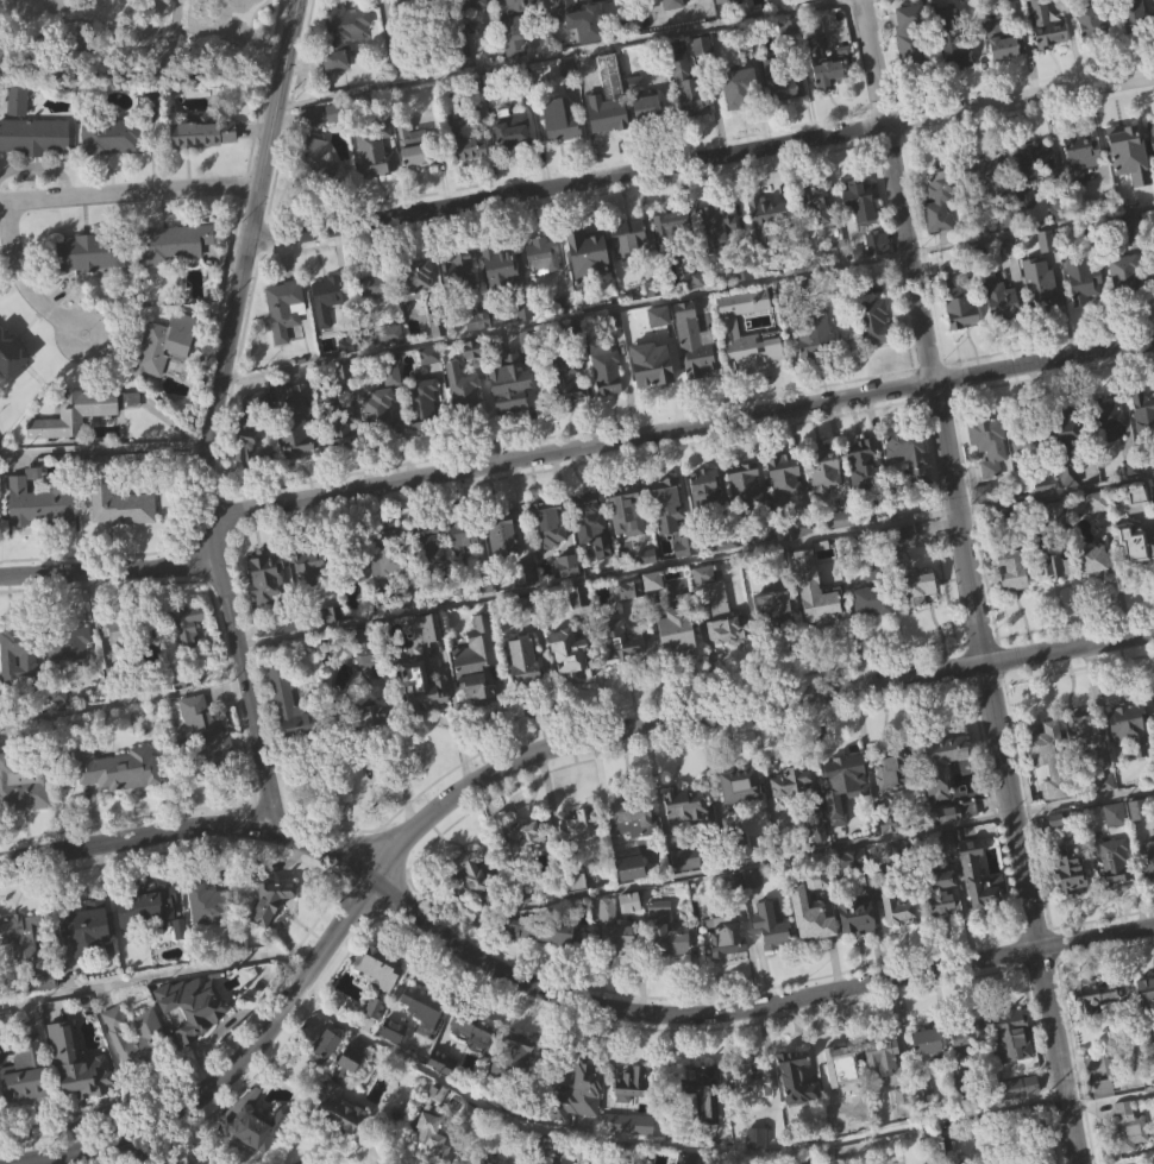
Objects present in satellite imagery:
building: (673, 4)
building: (822, 8)
building: (1041, 12)
building: (730, 13)
building: (1135, 15)
building: (518, 20)
building: (582, 20)
building: (1095, 25)
building: (473, 29)
building: (345, 34)
building: (453, 36)
road: (170, 37)
building: (912, 38)
building: (1002, 42)
building: (1135, 48)
building: (953, 49)
road: (565, 54)
building: (1092, 54)
building: (827, 57)
building: (1047, 58)
road: (874, 63)
building: (911, 68)
building: (345, 69)
road: (140, 73)
building: (1004, 75)
building: (782, 83)
building: (958, 86)
building: (688, 87)
building: (738, 88)
building: (827, 93)
road: (1021, 101)
building: (602, 106)
building: (648, 111)
building: (635, 119)
building: (786, 119)
building: (690, 120)
building: (739, 120)
road: (272, 121)
building: (559, 121)
building: (513, 127)
building: (30, 130)
building: (146, 132)
building: (203, 132)
building: (111, 137)
building: (1149, 137)
building: (318, 140)
building: (465, 140)
building: (647, 140)
building: (606, 144)
building: (416, 146)
building: (377, 149)
building: (1123, 150)
building: (562, 153)
building: (1080, 156)
building: (513, 164)
building: (205, 165)
building: (1034, 166)
building: (1152, 166)
building: (35, 170)
building: (113, 170)
building: (986, 174)
building: (464, 176)
building: (416, 181)
road: (567, 185)
building: (1129, 187)
building: (1081, 189)
building: (315, 193)
road: (130, 196)
building: (941, 197)
building: (863, 201)
building: (815, 202)
building: (1034, 203)
building: (986, 207)
building: (766, 221)
building: (716, 227)
building: (1128, 227)
building: (672, 228)
building: (628, 235)
building: (940, 235)
building: (815, 239)
building: (174, 244)
building: (767, 245)
building: (868, 247)
building: (589, 251)
building: (92, 252)
building: (542, 254)
building: (829, 256)
building: (719, 257)
building: (1150, 259)
building: (671, 262)
building: (1133, 262)
building: (498, 269)
building: (629, 270)
building: (458, 273)
building: (1119, 273)
road: (18, 276)
building: (175, 276)
building: (878, 276)
building: (1083, 278)
building: (414, 279)
building: (1008, 279)
building: (376, 282)
building: (588, 284)
building: (1042, 285)
building: (88, 287)
building: (545, 289)
building: (1153, 289)
building: (792, 290)
building: (327, 292)
road: (684, 296)
building: (998, 296)
building: (501, 298)
building: (958, 302)
building: (458, 303)
building: (418, 307)
building: (1125, 307)
building: (282, 309)
building: (1084, 314)
building: (1042, 319)
building: (374, 320)
building: (730, 322)
building: (871, 322)
building: (328, 331)
building: (1002, 331)
street lamp: (82, 333)
building: (959, 333)
building: (813, 335)
building: (692, 341)
road: (95, 342)
building: (284, 342)
building: (164, 345)
building: (529, 345)
building: (478, 352)
building: (874, 354)
building: (12, 358)
building: (647, 363)
building: (604, 367)
building: (747, 367)
building: (816, 369)
building: (389, 370)
building: (567, 375)
building: (696, 375)
building: (164, 376)
building: (508, 386)
building: (12, 388)
building: (647, 397)
building: (466, 398)
building: (608, 404)
building: (422, 405)
building: (393, 408)
building: (1141, 410)
building: (567, 413)
building: (74, 414)
building: (381, 414)
building: (509, 417)
building: (1103, 419)
building: (463, 421)
building: (296, 423)
building: (338, 423)
building: (257, 435)
building: (424, 435)
building: (1021, 435)
building: (1060, 438)
building: (985, 442)
building: (1143, 443)
building: (383, 445)
building: (76, 446)
road: (101, 451)
road: (570, 451)
building: (911, 451)
building: (1110, 453)
building: (343, 464)
building: (864, 467)
building: (824, 470)
building: (1026, 472)
building: (785, 476)
building: (990, 478)
building: (1065, 479)
building: (255, 482)
building: (908, 484)
building: (745, 486)
building: (707, 491)
building: (865, 495)
building: (118, 502)
building: (667, 502)
building: (826, 503)
building: (39, 504)
building: (785, 509)
building: (627, 510)
building: (1153, 515)
building: (746, 516)
building: (1045, 517)
building: (705, 520)
building: (548, 522)
building: (592, 522)
building: (983, 527)
building: (463, 531)
building: (501, 533)
building: (667, 534)
building: (1097, 534)
building: (40, 537)
road: (211, 537)
building: (121, 539)
building: (627, 543)
building: (1127, 545)
building: (431, 546)
building: (1054, 548)
building: (592, 555)
building: (550, 556)
building: (1087, 559)
road: (696, 562)
building: (464, 564)
building: (504, 564)
building: (389, 567)
building: (1045, 567)
building: (311, 570)
building: (1002, 570)
building: (429, 577)
building: (266, 578)
building: (1134, 578)
building: (444, 586)
building: (651, 587)
building: (922, 587)
building: (819, 590)
building: (873, 591)
building: (1095, 591)
building: (569, 598)
building: (1054, 598)
building: (308, 600)
building: (531, 604)
building: (1012, 604)
building: (704, 606)
building: (715, 606)
building: (776, 608)
building: (653, 614)
building: (631, 621)
building: (918, 621)
building: (276, 623)
building: (815, 623)
building: (184, 625)
building: (429, 628)
building: (579, 628)
building: (126, 633)
building: (872, 633)
building: (774, 637)
building: (622, 638)
building: (68, 642)
building: (365, 646)
road: (980, 646)
building: (722, 647)
building: (19, 655)
building: (575, 656)
building: (187, 660)
building: (429, 660)
building: (525, 660)
building: (677, 662)
building: (117, 663)
building: (623, 675)
building: (69, 677)
building: (476, 682)
building: (567, 685)
building: (422, 686)
building: (19, 688)
building: (525, 692)
building: (1153, 703)
road: (123, 704)
building: (295, 705)
building: (364, 718)
building: (424, 718)
building: (1153, 718)
building: (1125, 726)
building: (1074, 728)
building: (206, 736)
building: (291, 738)
building: (1039, 742)
building: (369, 748)
building: (1130, 761)
building: (947, 763)
road: (510, 765)
building: (1084, 765)
building: (207, 766)
building: (118, 768)
building: (897, 769)
building: (843, 770)
building: (23, 785)
building: (745, 785)
building: (1050, 791)
building: (942, 795)
building: (804, 797)
building: (119, 800)
building: (683, 801)
building: (891, 805)
building: (636, 811)
building: (958, 811)
building: (795, 813)
building: (1103, 814)
building: (741, 817)
building: (843, 817)
building: (20, 823)
building: (582, 825)
building: (531, 837)
building: (686, 837)
building: (958, 844)
building: (735, 845)
building: (634, 850)
building: (1059, 851)
building: (579, 856)
road: (795, 857)
building: (689, 858)
building: (817, 858)
building: (1147, 860)
building: (1112, 861)
building: (527, 869)
building: (1062, 873)
building: (483, 877)
building: (729, 886)
building: (686, 889)
building: (1148, 891)
building: (853, 892)
building: (986, 892)
building: (943, 893)
building: (1115, 893)
building: (802, 898)
building: (632, 900)
building: (272, 901)
building: (207, 904)
building: (1071, 904)
building: (145, 905)
building: (478, 905)
building: (899, 908)
building: (979, 910)
building: (752, 913)
building: (859, 916)
building: (772, 924)
building: (942, 925)
building: (86, 929)
building: (615, 929)
building: (666, 930)
building: (801, 930)
building: (542, 931)
building: (274, 932)
building: (727, 936)
building: (206, 937)
building: (148, 938)
building: (897, 940)
building: (27, 944)
building: (855, 948)
building: (614, 958)
building: (771, 958)
building: (89, 961)
building: (544, 964)
building: (666, 964)
building: (21, 968)
building: (384, 968)
building: (726, 968)
road: (157, 977)
building: (1143, 990)
road: (557, 996)
building: (1089, 998)
building: (382, 1000)
building: (424, 1002)
building: (194, 1007)
building: (45, 1012)
building: (1146, 1023)
building: (472, 1025)
building: (1098, 1027)
building: (394, 1030)
building: (966, 1032)
building: (1012, 1034)
building: (137, 1036)
building: (424, 1037)
building: (196, 1038)
building: (376, 1039)
building: (929, 1039)
building: (519, 1044)
building: (883, 1053)
building: (77, 1062)
building: (443, 1062)
building: (395, 1063)
building: (136, 1068)
building: (966, 1070)
building: (25, 1072)
building: (927, 1074)
building: (1105, 1074)
building: (799, 1075)
building: (758, 1077)
building: (325, 1078)
building: (847, 1078)
building: (634, 1082)
building: (518, 1083)
building: (1021, 1087)
building: (921, 1088)
building: (579, 1089)
building: (883, 1089)
building: (351, 1091)
building: (705, 1091)
building: (966, 1093)
building: (444, 1094)
building: (79, 1095)
road: (1110, 1097)
building: (26, 1102)
building: (339, 1107)
building: (847, 1109)
building: (797, 1110)
building: (753, 1113)
building: (632, 1115)
building: (1020, 1119)
building: (1103, 1120)
building: (700, 1122)
building: (256, 1125)
building: (579, 1126)
building: (621, 1126)
building: (1125, 1127)
building: (339, 1143)
road: (665, 1145)
road: (148, 1146)
building: (429, 1146)
building: (250, 1147)
building: (546, 1150)
building: (1128, 1150)
building: (690, 1159)
building: (757, 1163)

